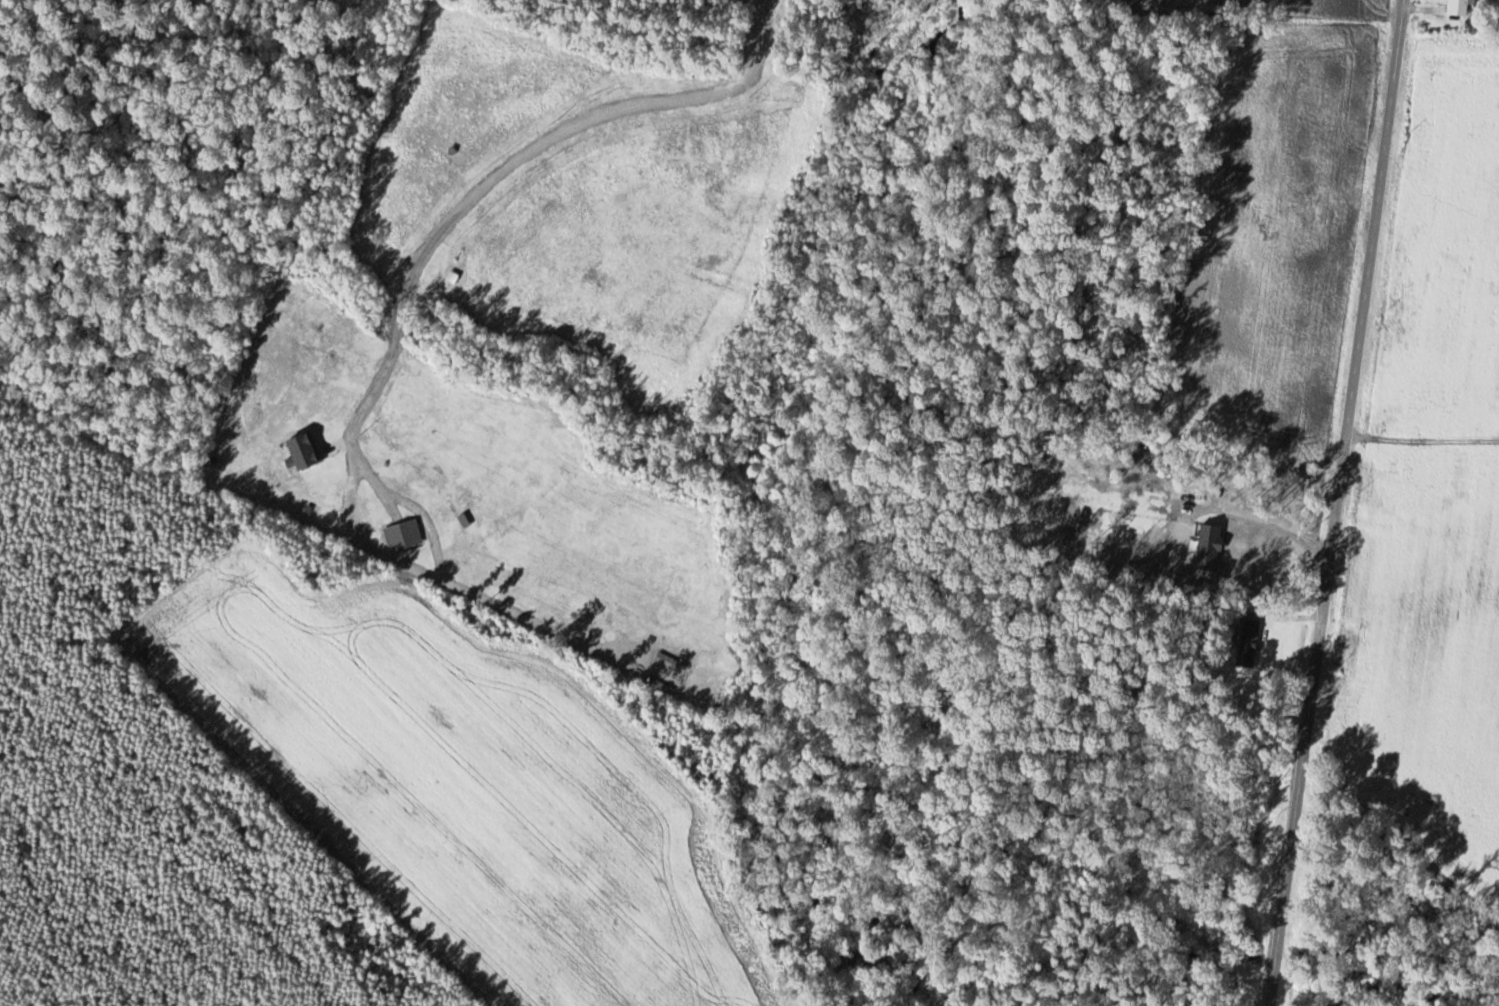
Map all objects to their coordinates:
building: (1458, 7)
road: (1334, 502)
building: (1248, 642)
river: (1060, 949)
river: (1277, 955)
river: (1353, 979)

